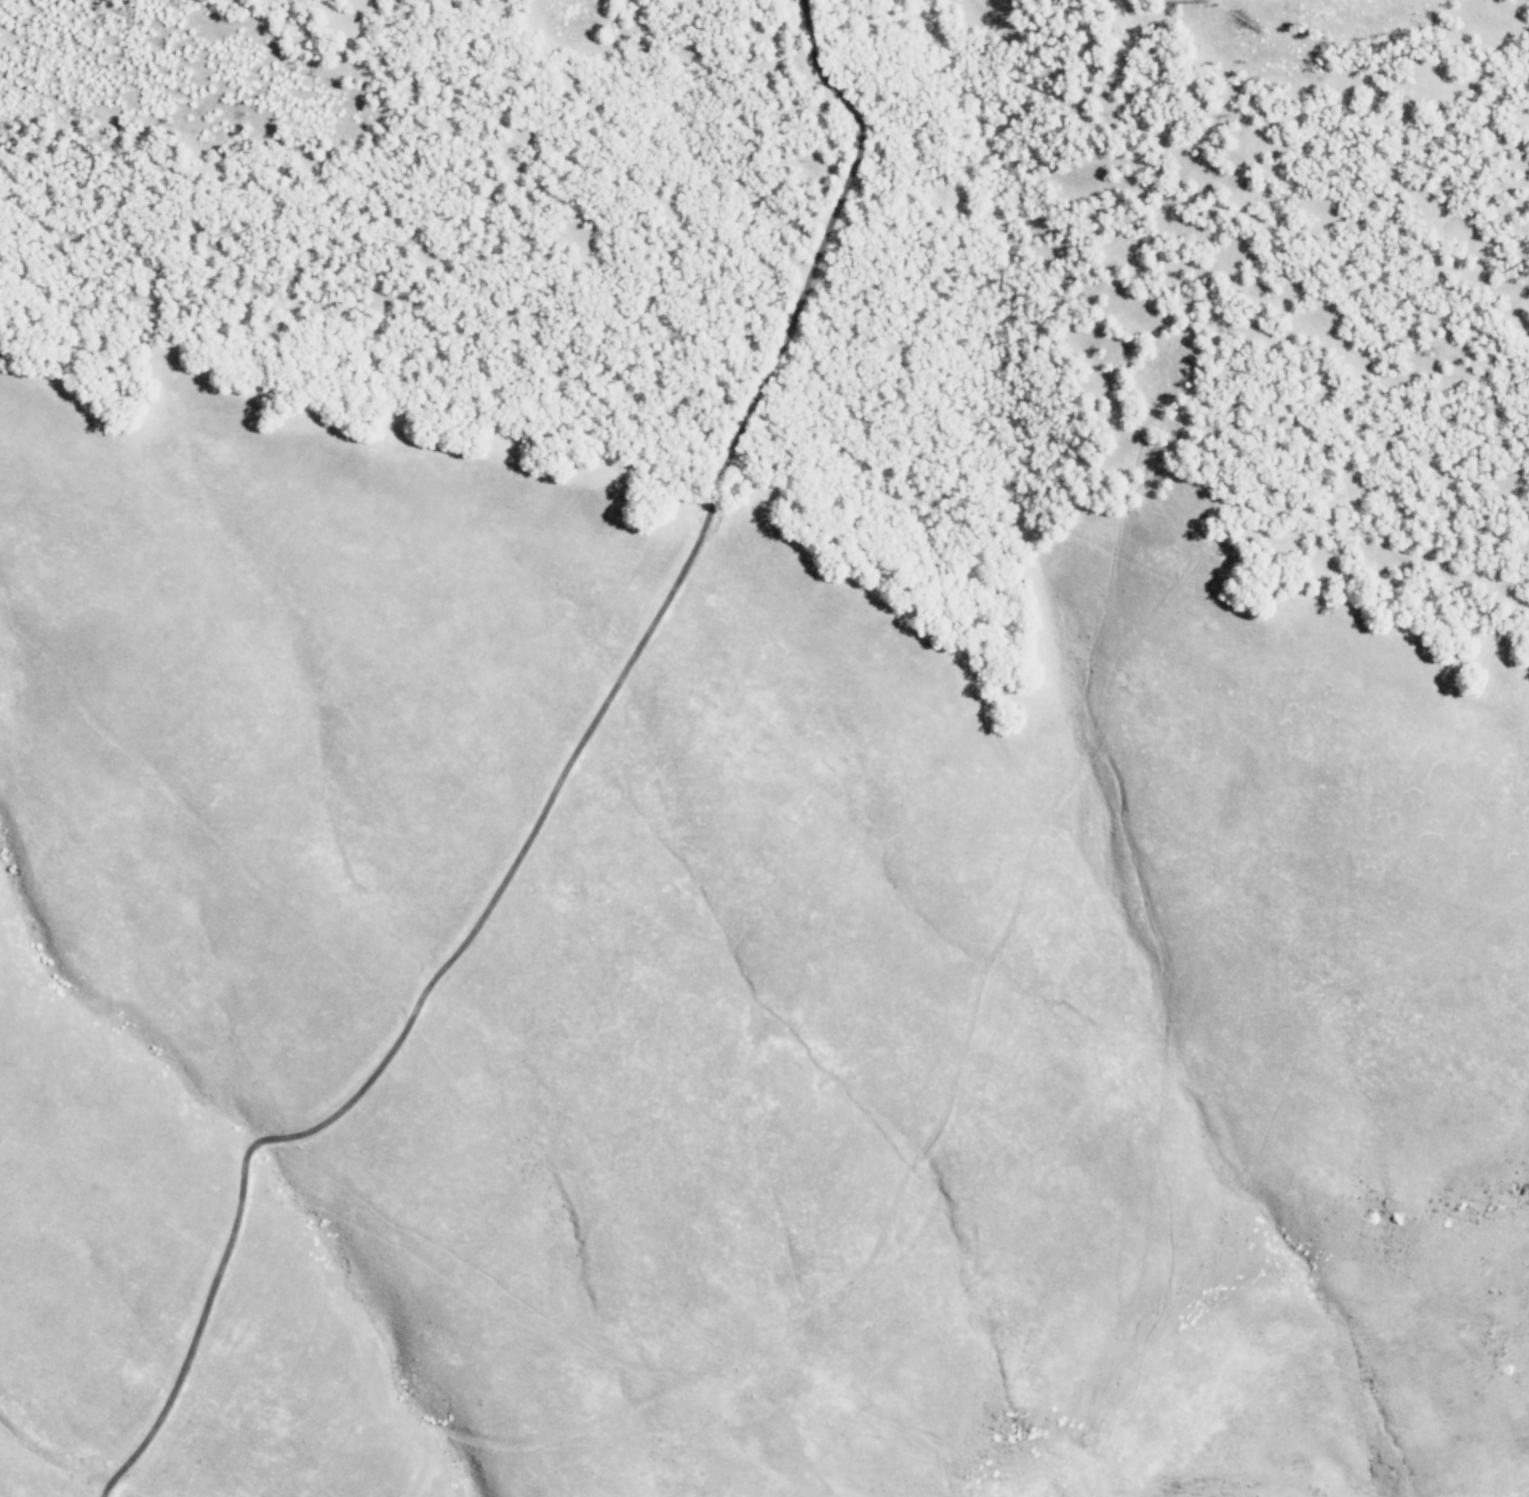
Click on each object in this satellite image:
road: (553, 788)

